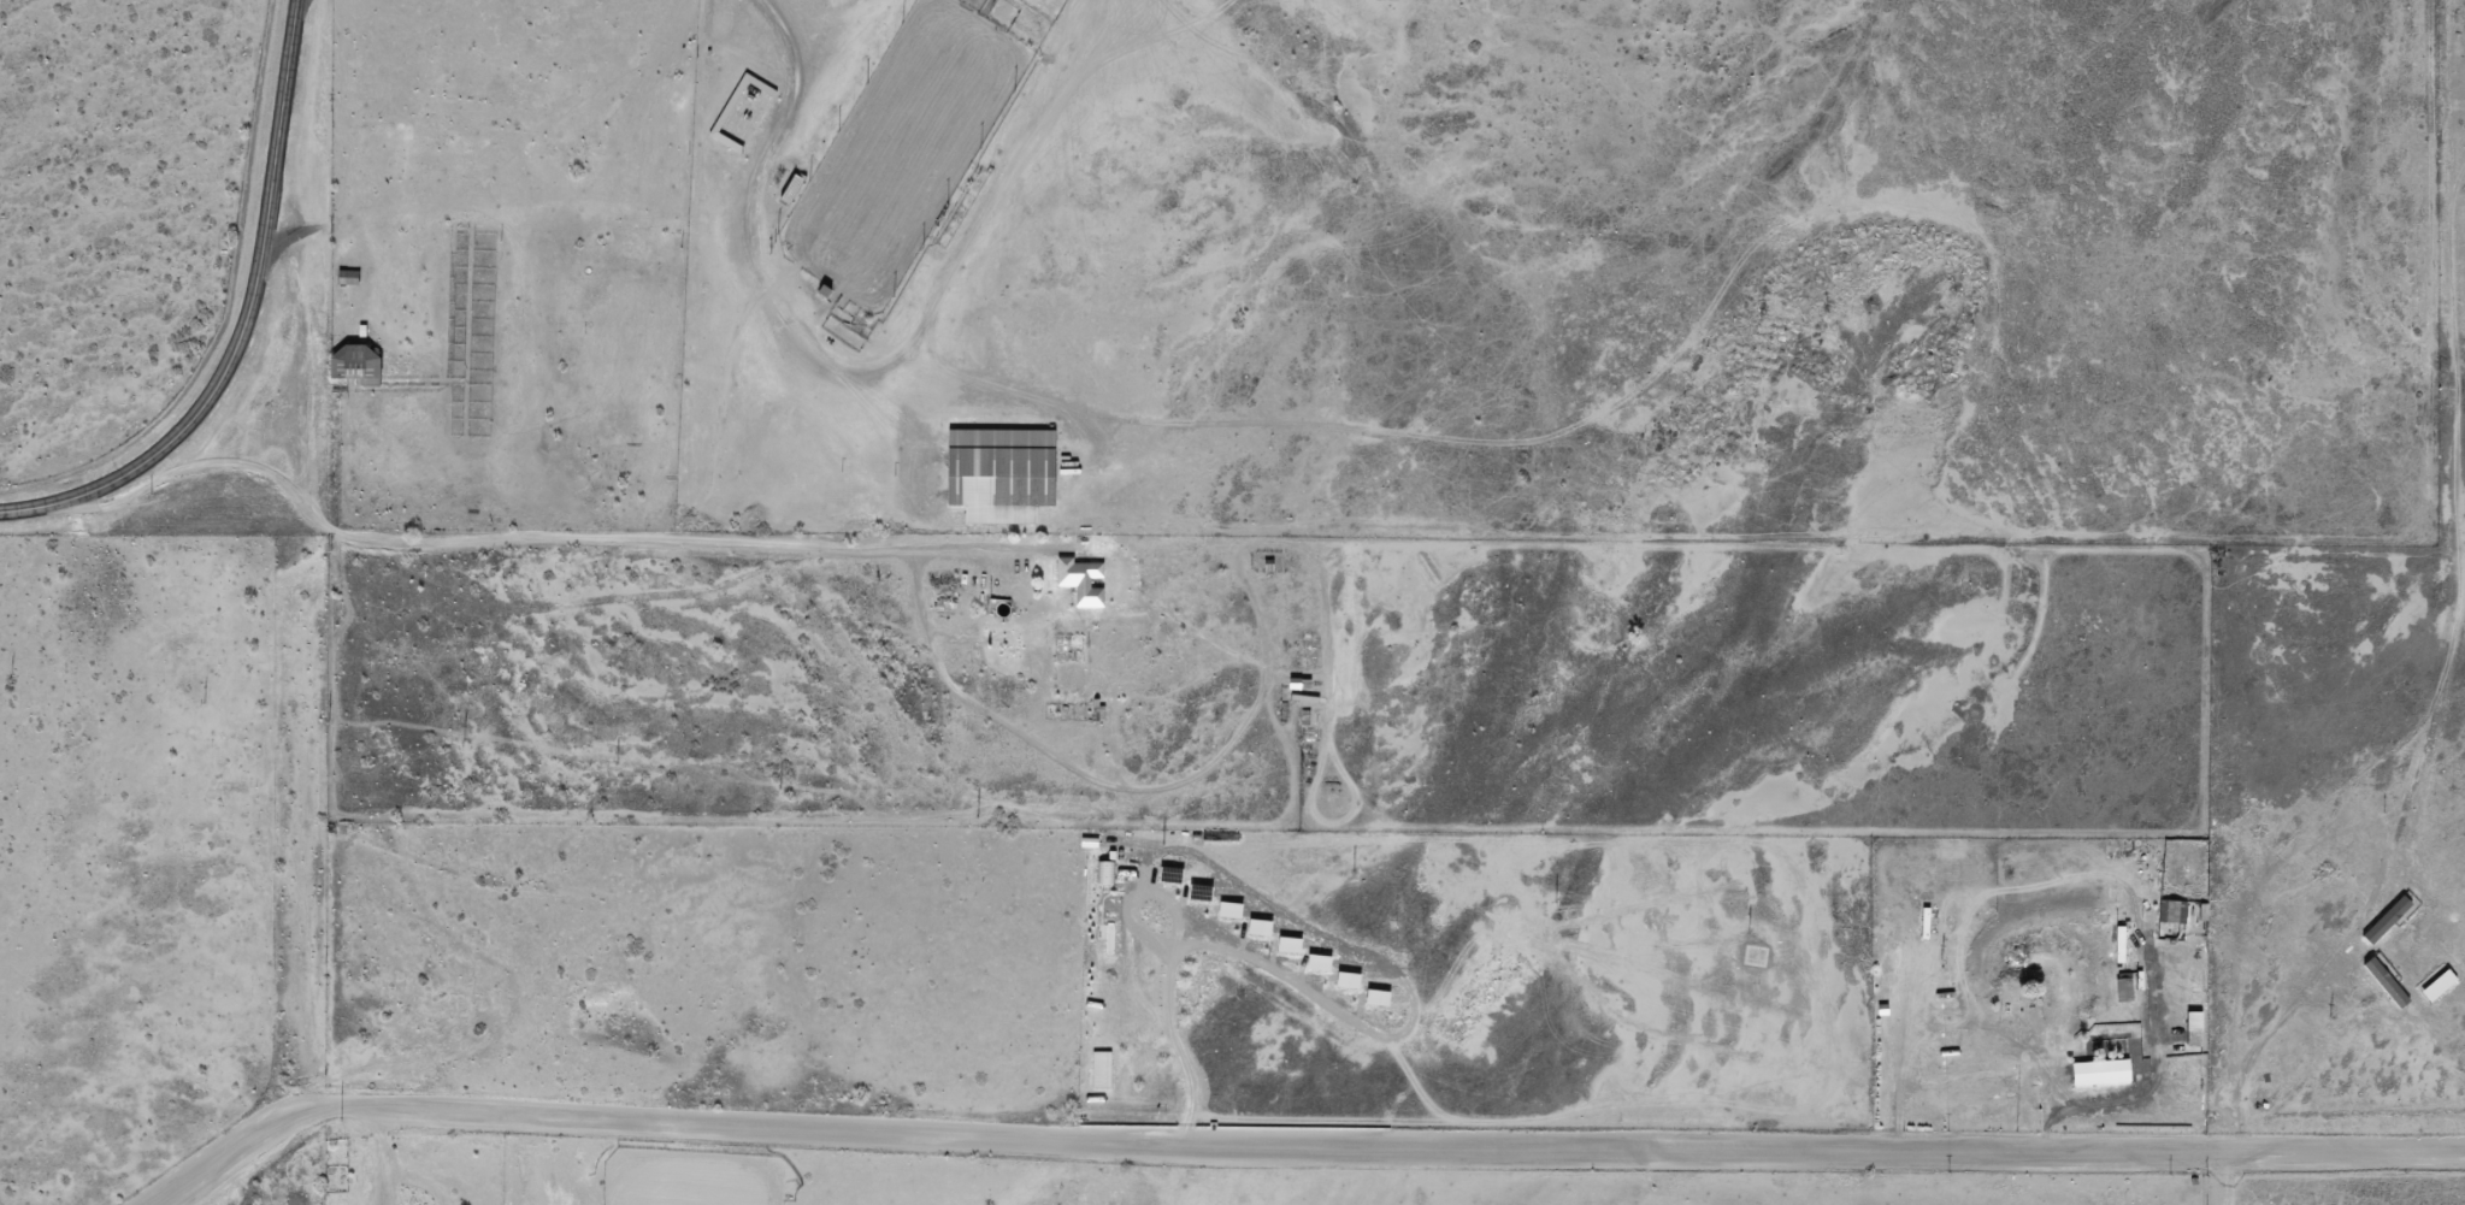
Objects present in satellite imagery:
building: (741, 112)
building: (797, 177)
road: (749, 207)
building: (347, 278)
road: (244, 325)
building: (355, 364)
building: (999, 474)
road: (567, 541)
building: (1077, 572)
building: (1299, 685)
building: (2182, 869)
building: (2171, 912)
building: (2123, 988)
building: (2193, 1029)
building: (2100, 1073)
building: (1983, 1083)
road: (1303, 1146)

